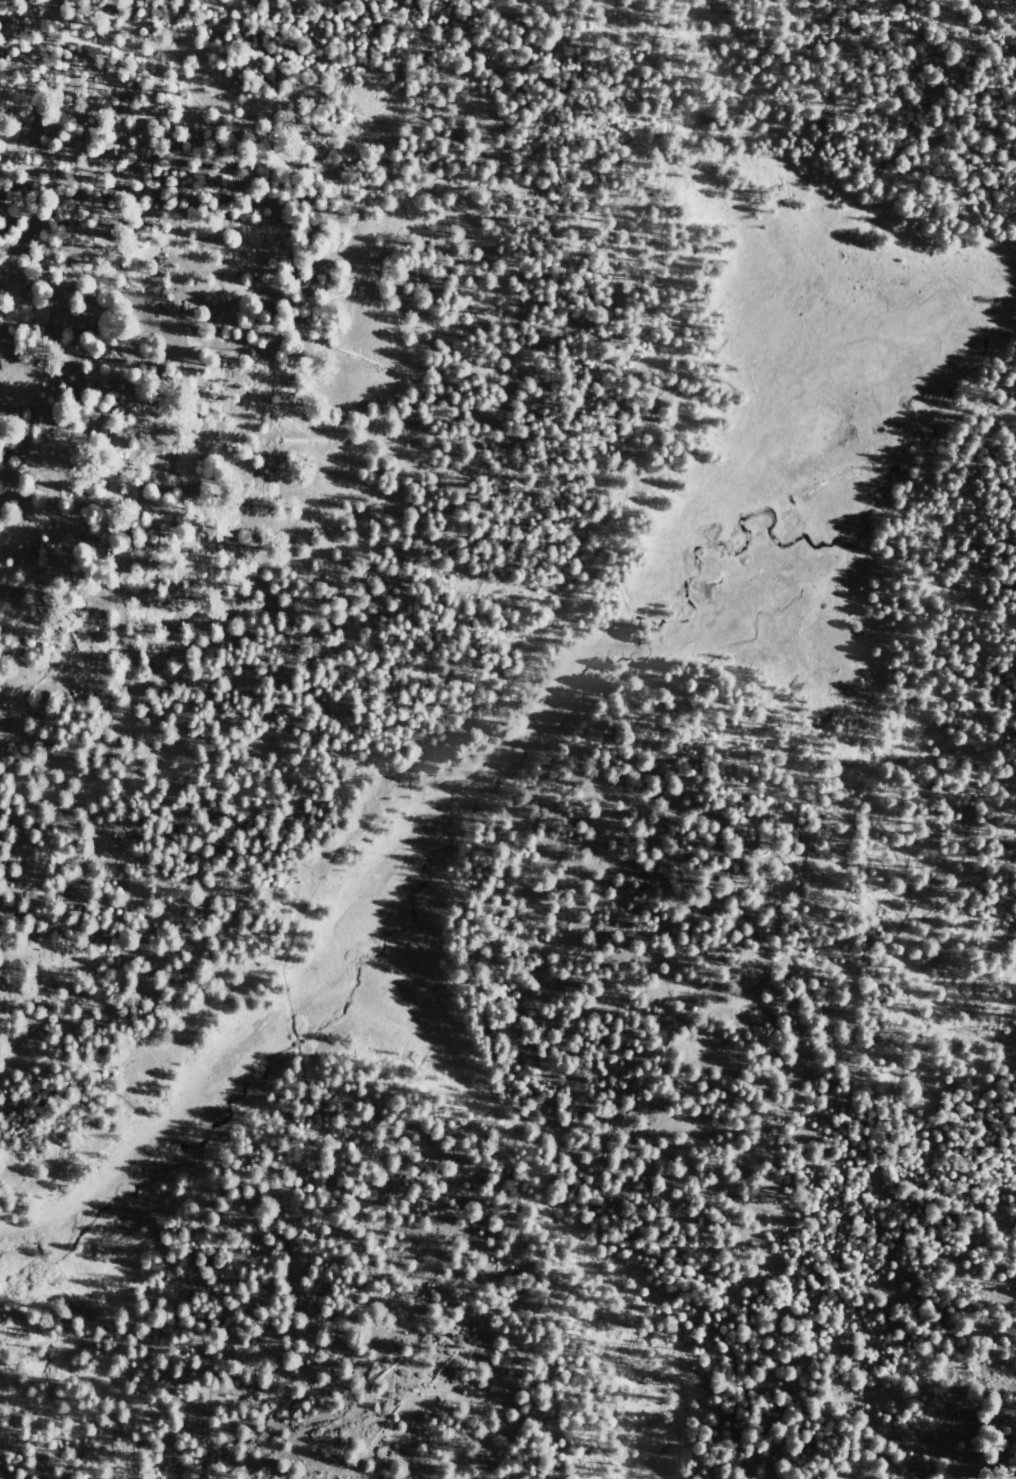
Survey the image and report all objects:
road: (449, 738)

